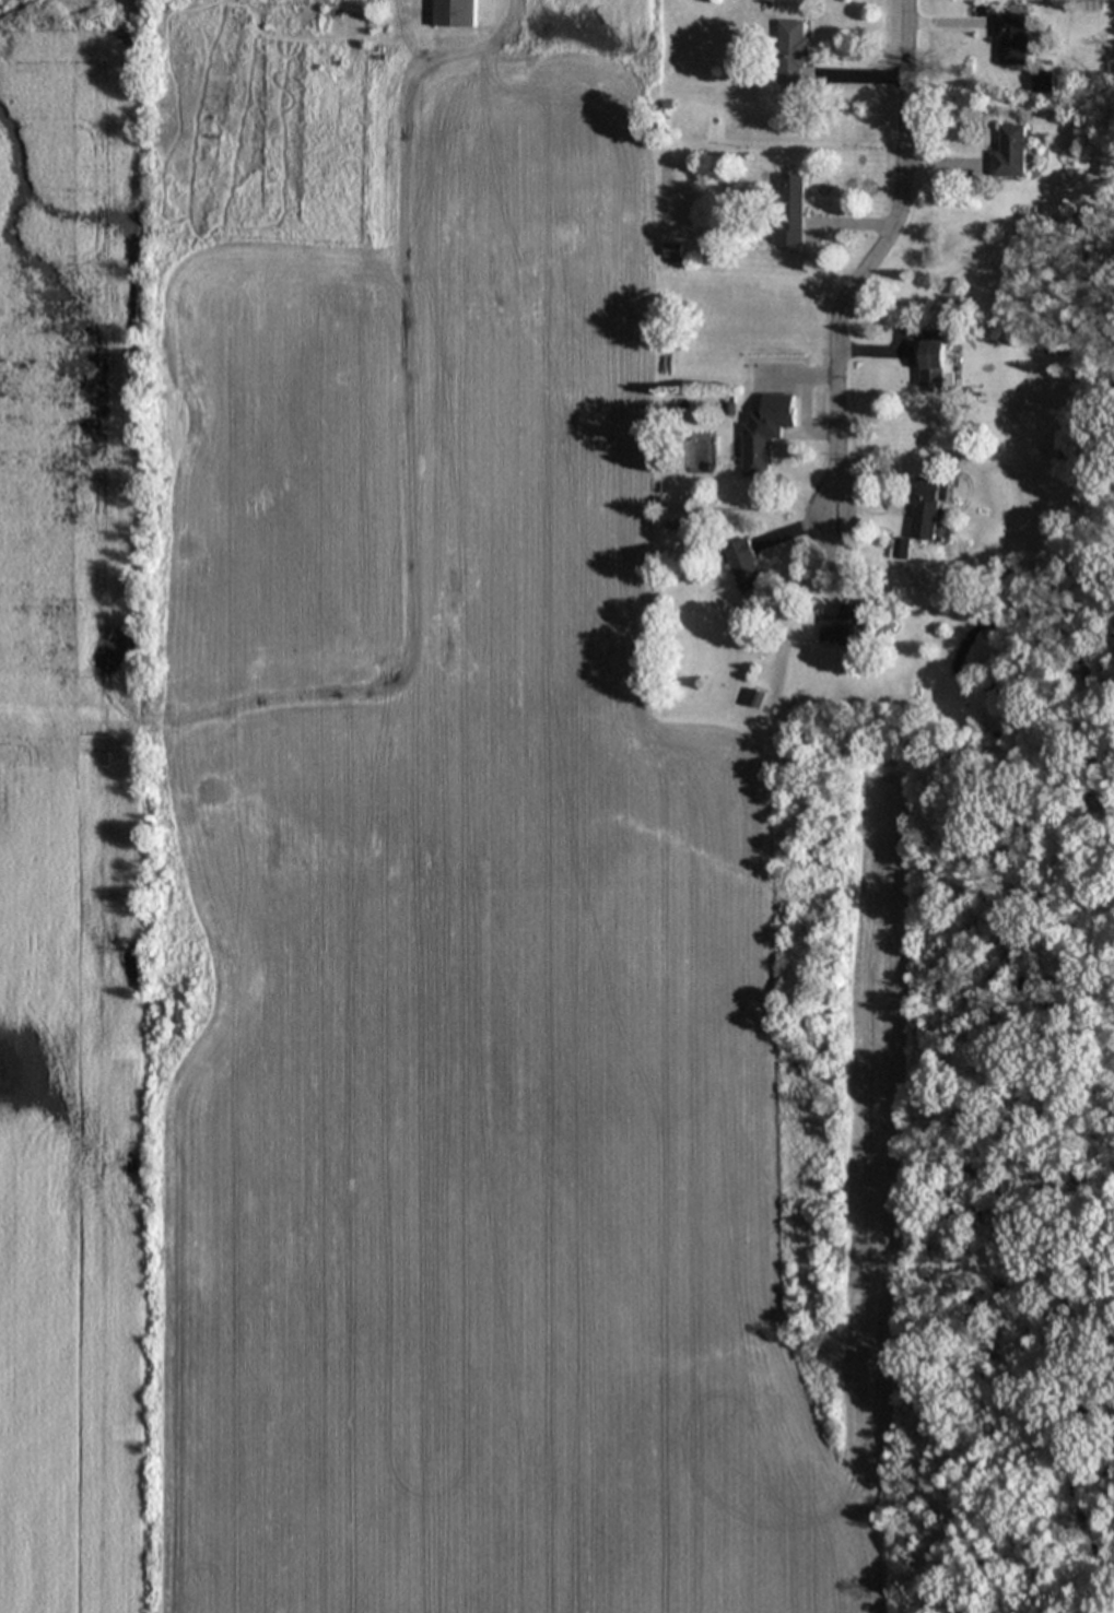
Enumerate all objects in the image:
building: (456, 13)
building: (1013, 38)
road: (476, 44)
building: (794, 49)
building: (1045, 81)
building: (1012, 152)
building: (791, 197)
building: (673, 250)
road: (883, 263)
building: (936, 362)
building: (759, 448)
building: (927, 506)
building: (902, 548)
building: (746, 565)
building: (845, 626)

